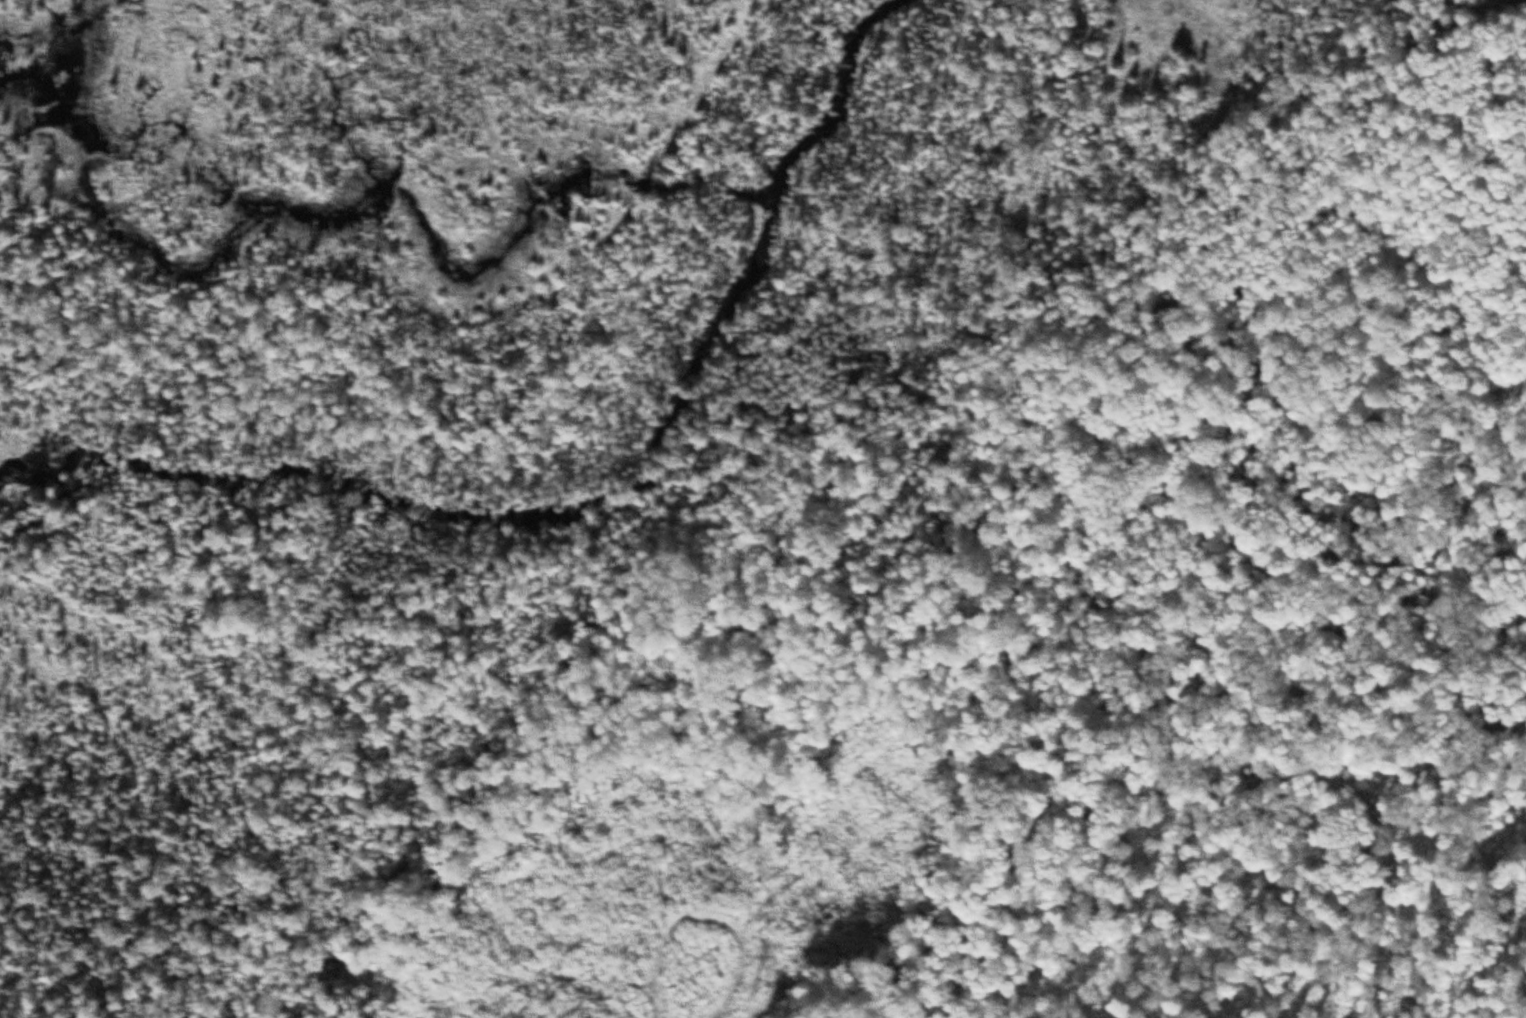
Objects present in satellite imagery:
river: (596, 498)

